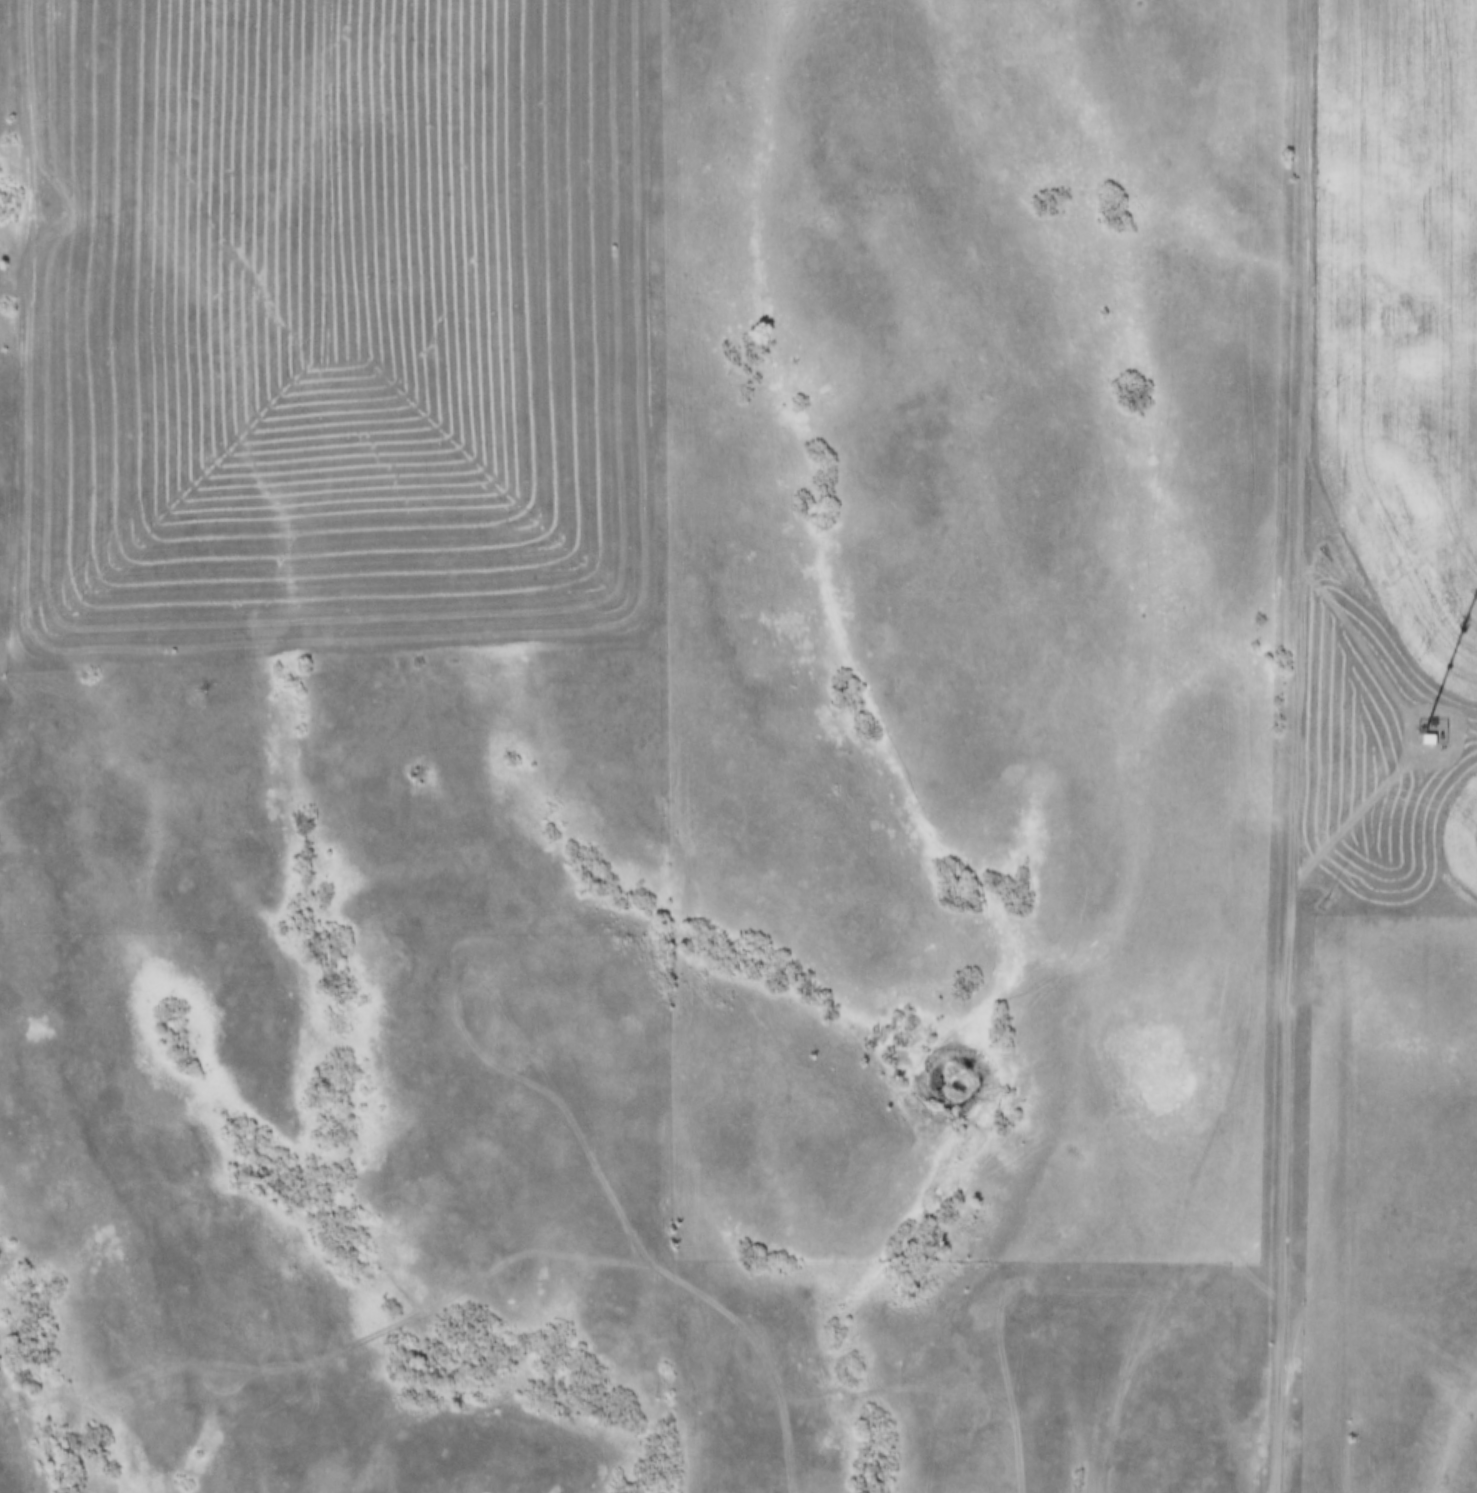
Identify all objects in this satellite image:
building: (1427, 728)
road: (1296, 746)

